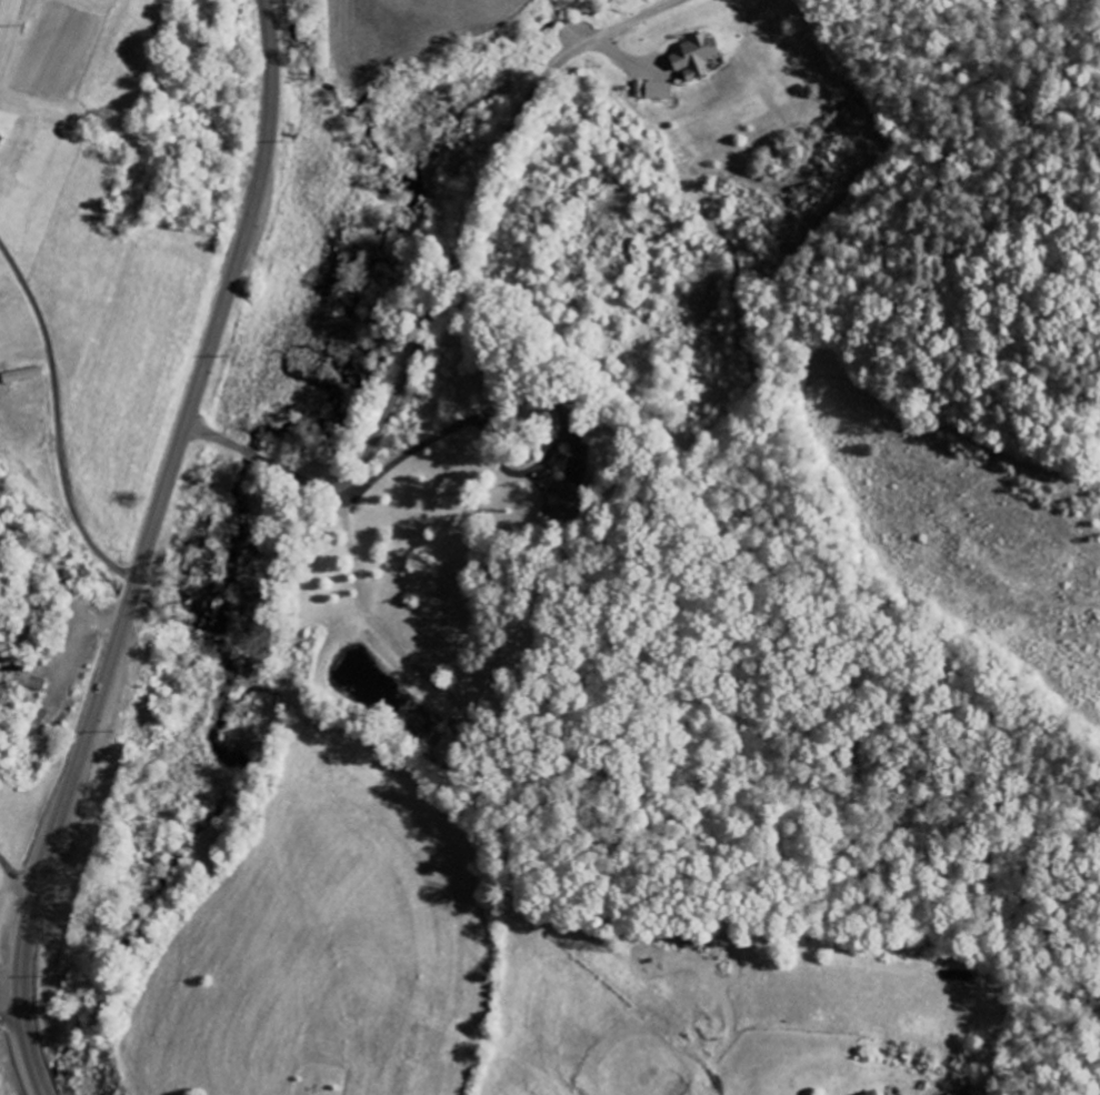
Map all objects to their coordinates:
building: (696, 57)
building: (659, 91)
road: (453, 264)
road: (56, 424)
road: (209, 434)
building: (563, 503)
road: (148, 549)
road: (19, 872)
road: (8, 961)
road: (2, 1017)
building: (871, 1094)

